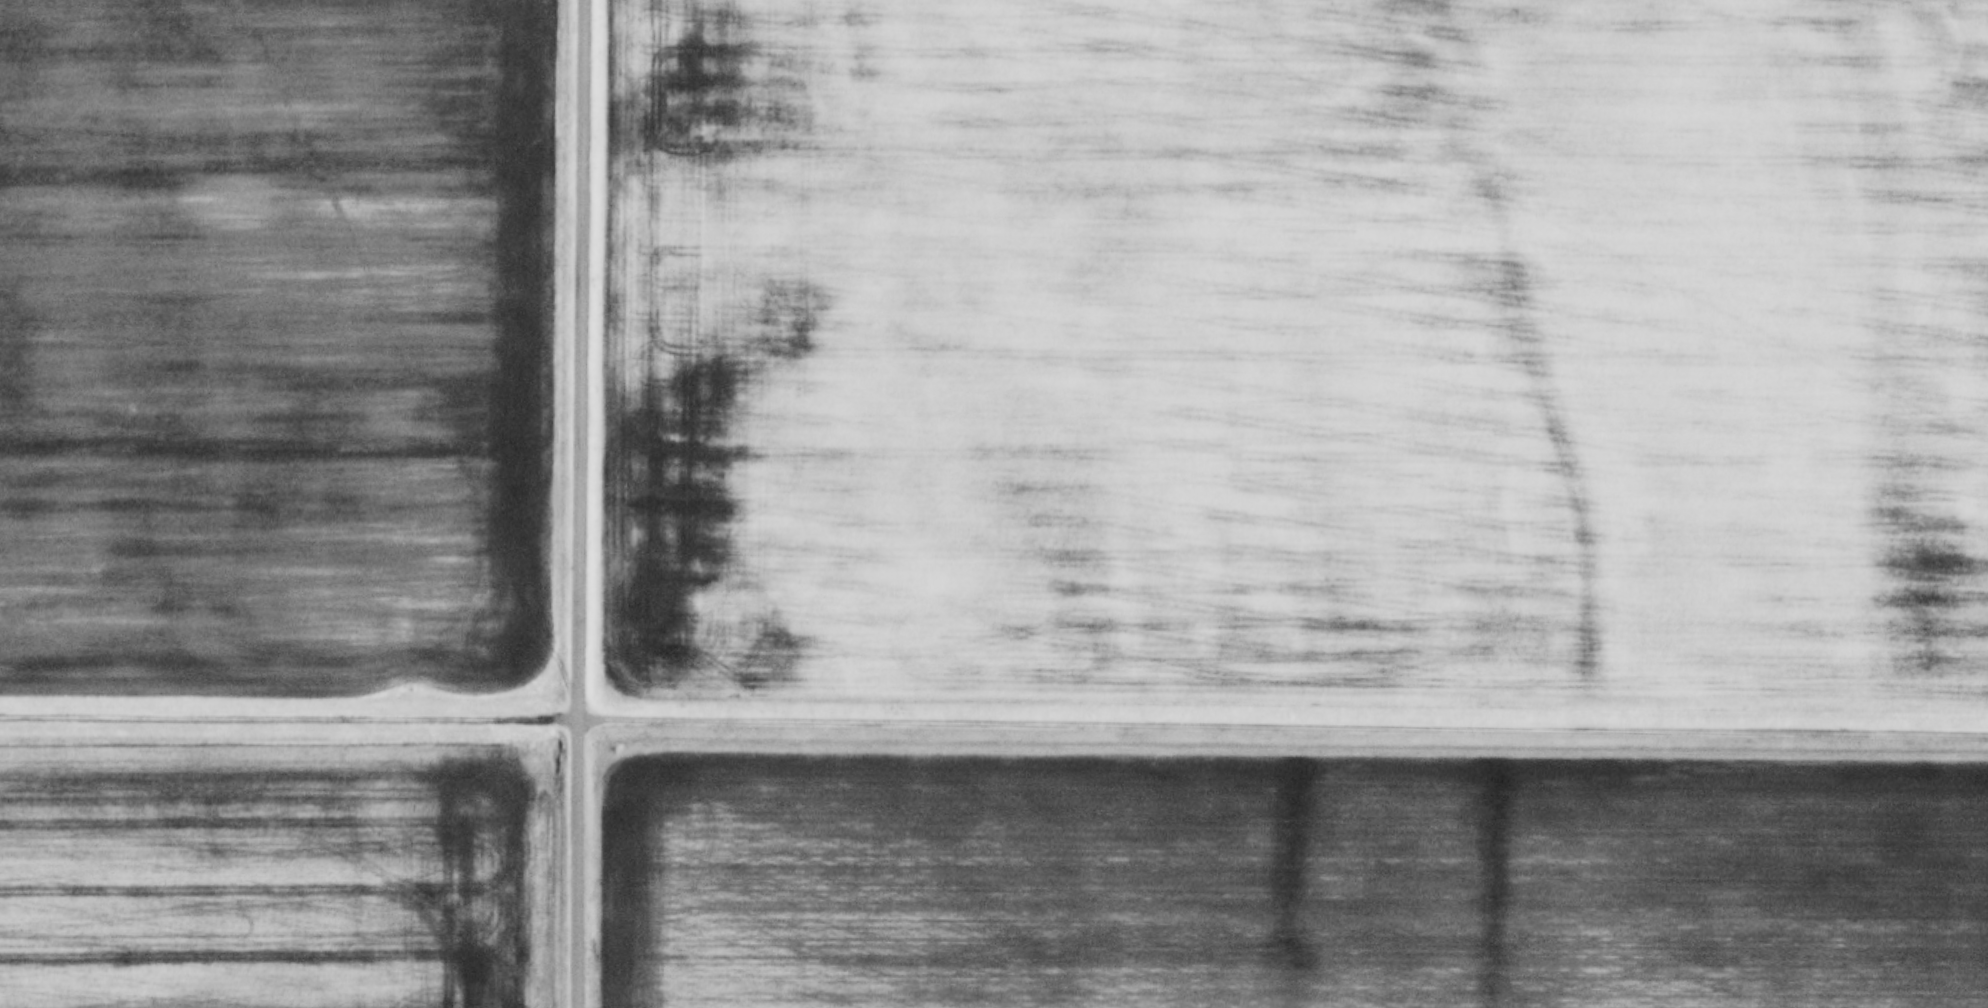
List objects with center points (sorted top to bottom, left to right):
road: (579, 503)
road: (288, 717)
road: (1282, 722)

